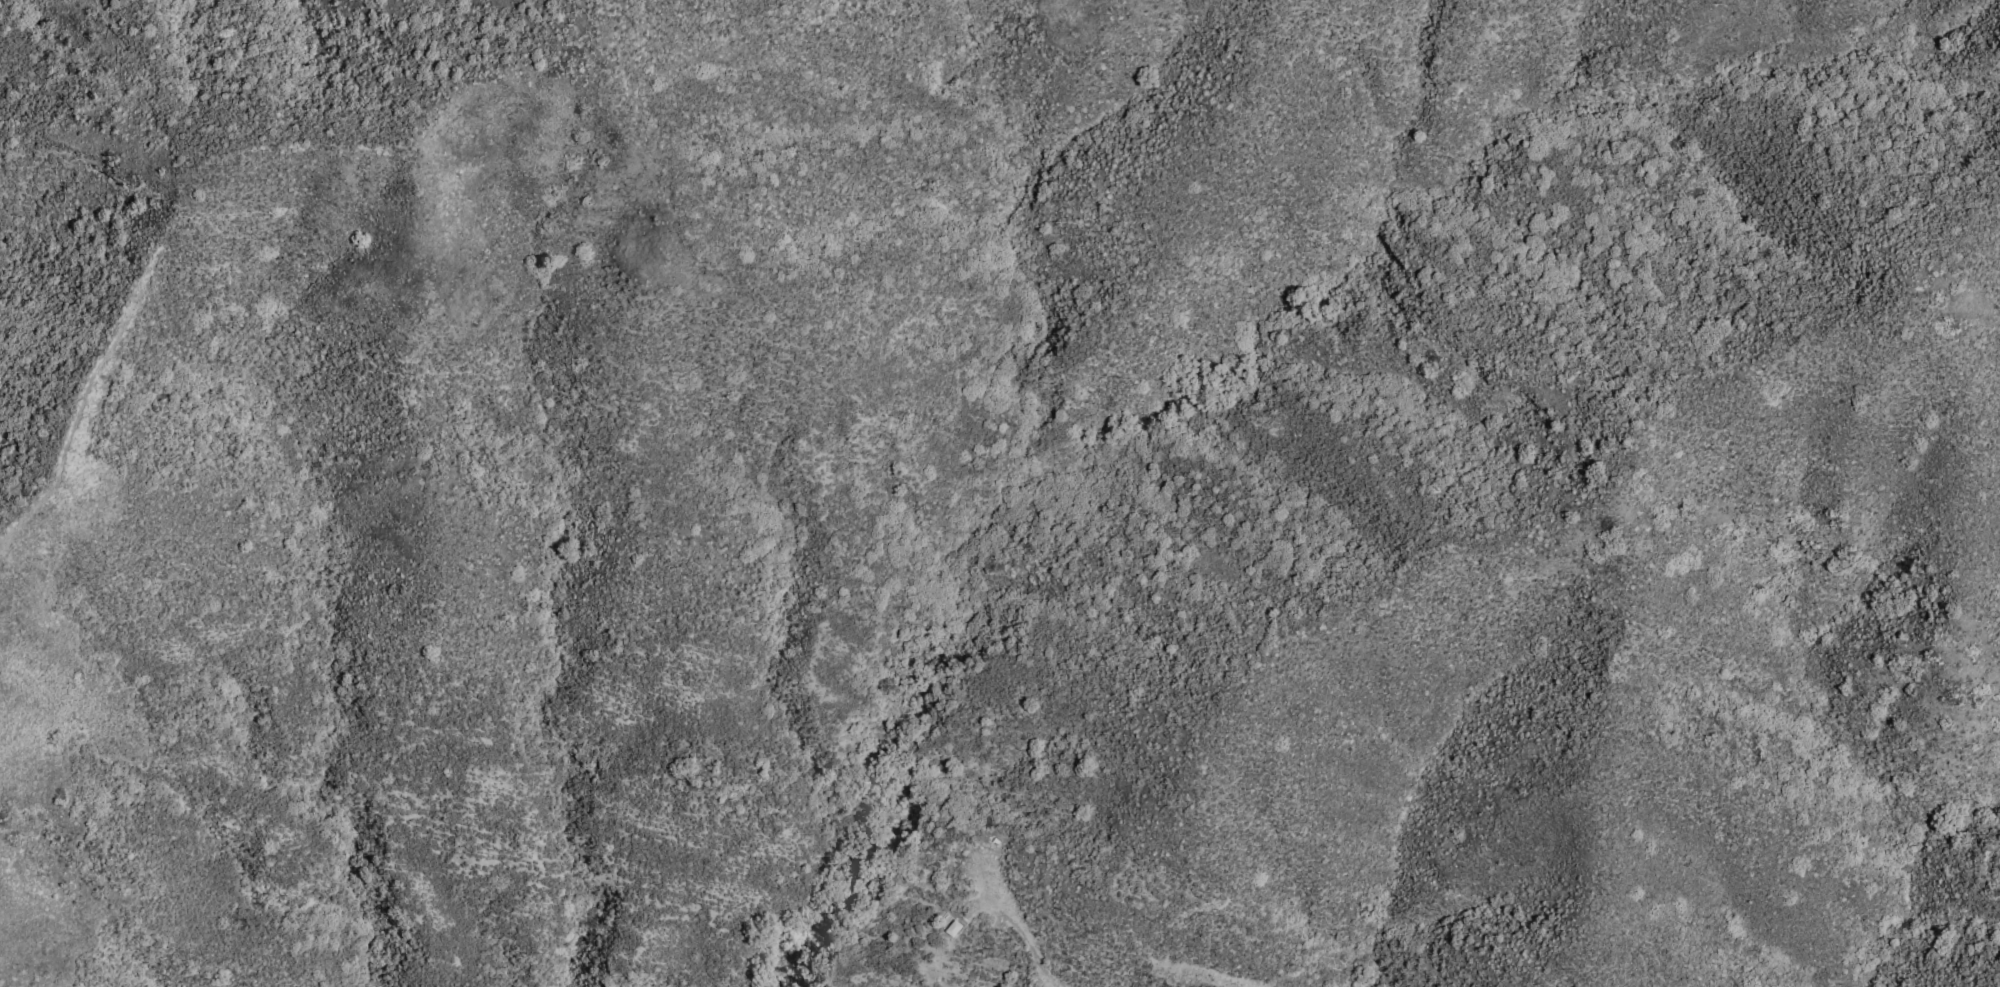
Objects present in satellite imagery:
road: (1150, 961)

